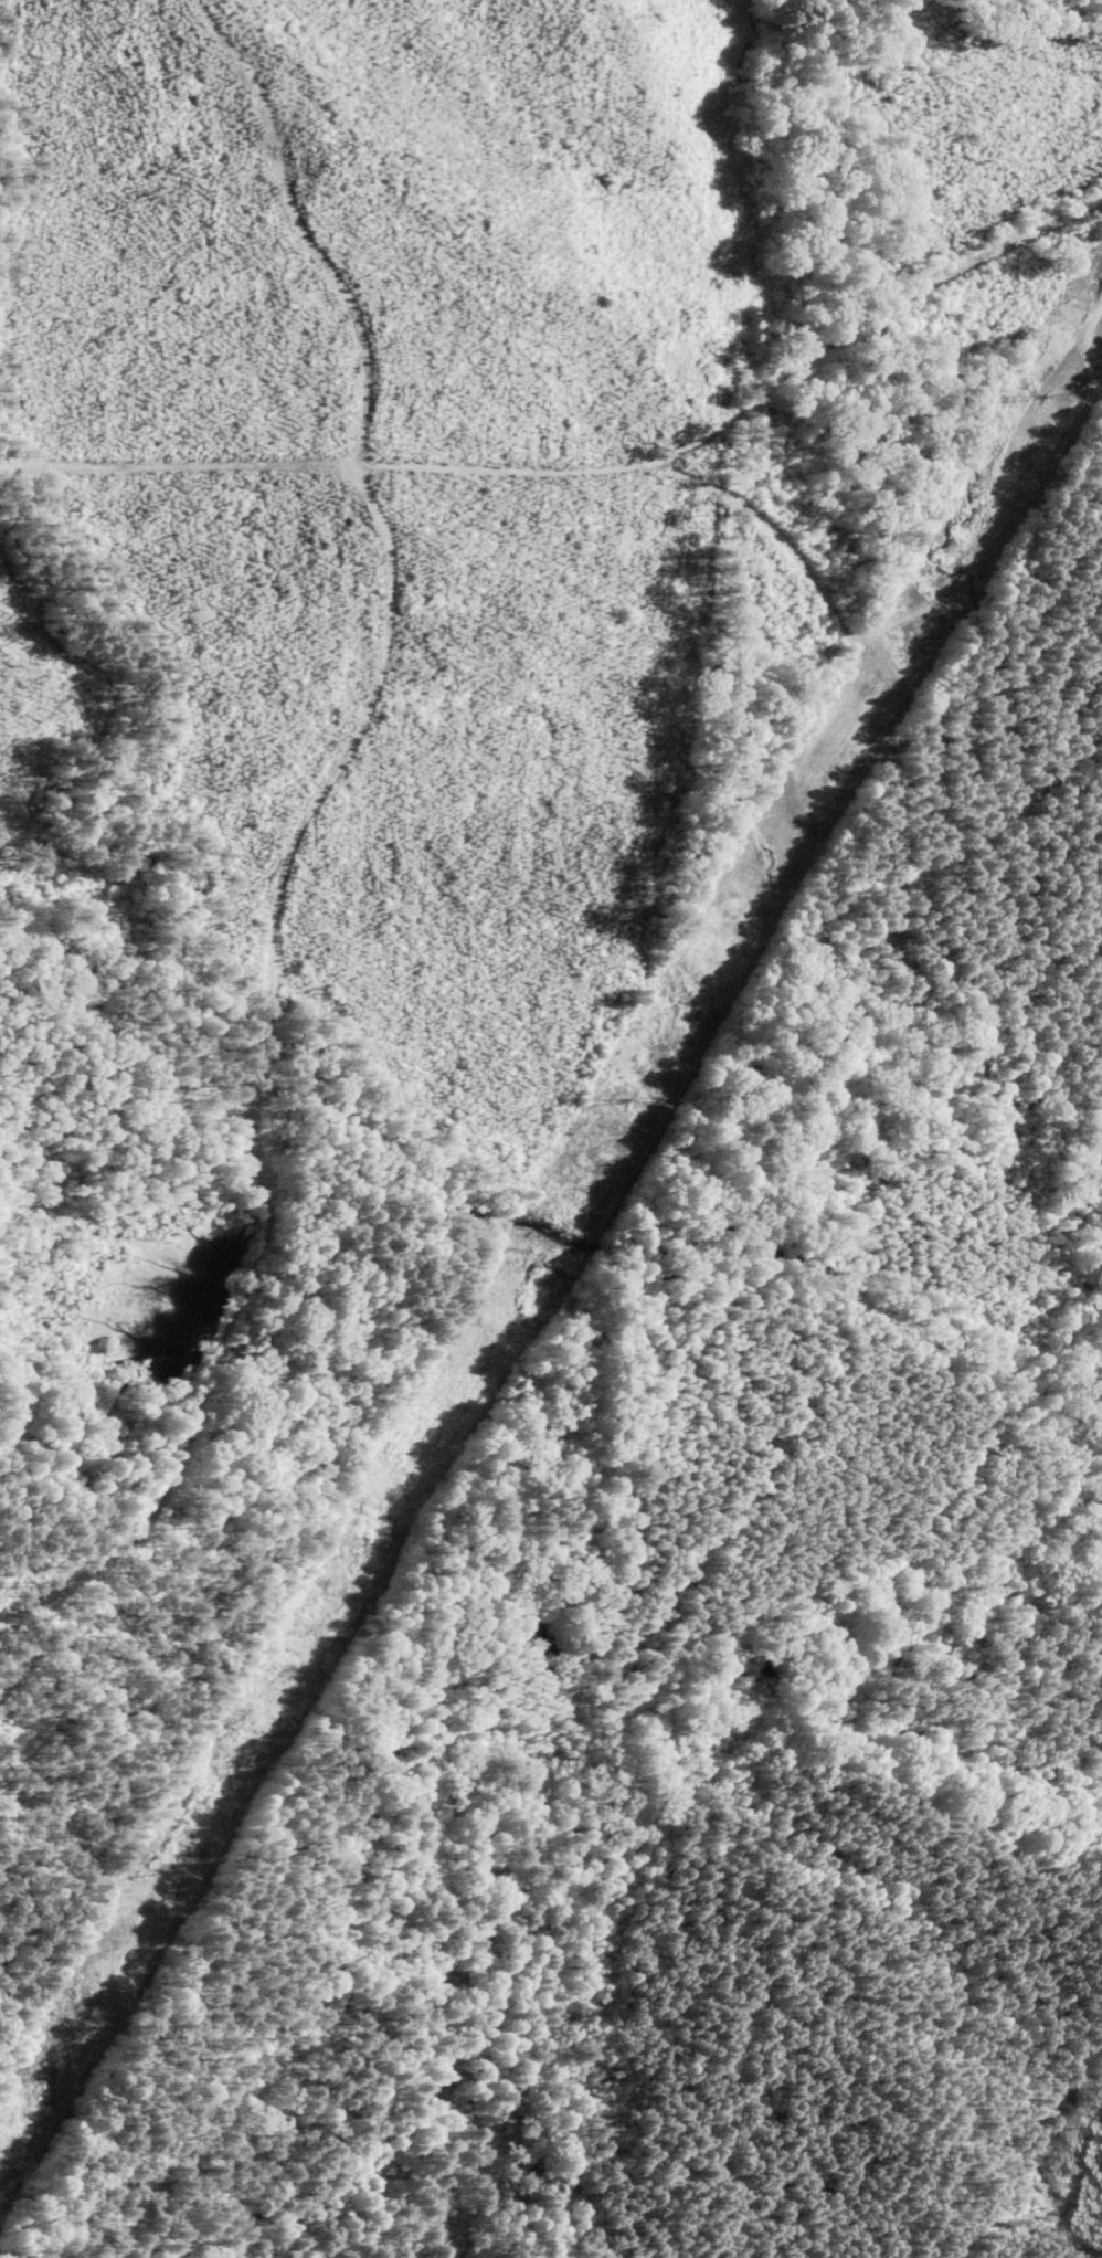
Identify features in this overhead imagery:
road: (944, 281)
power tower: (1049, 398)
road: (410, 478)
power tower: (627, 1102)
power tower: (166, 1872)

